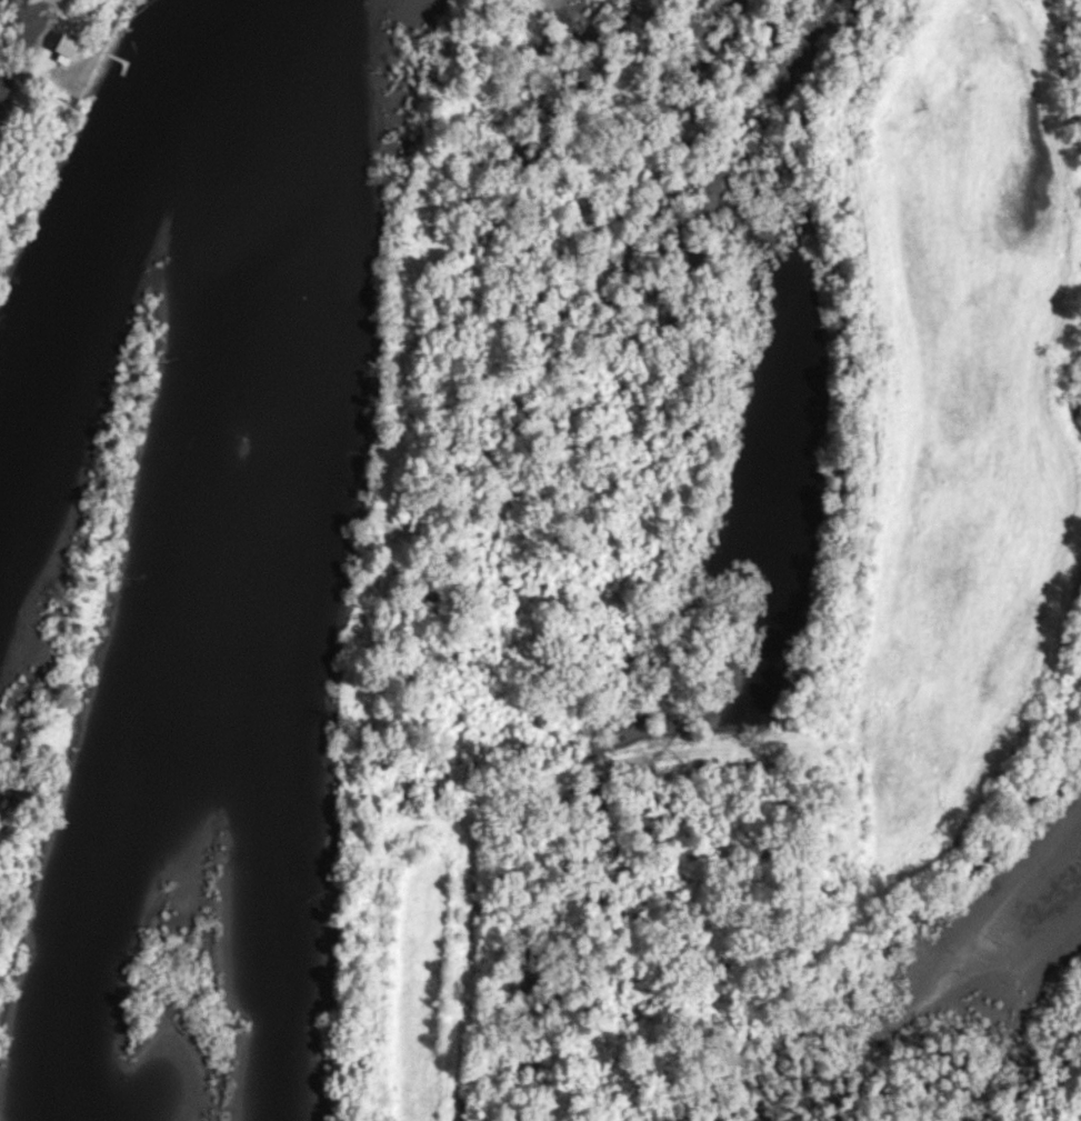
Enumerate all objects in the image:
building: (64, 47)

